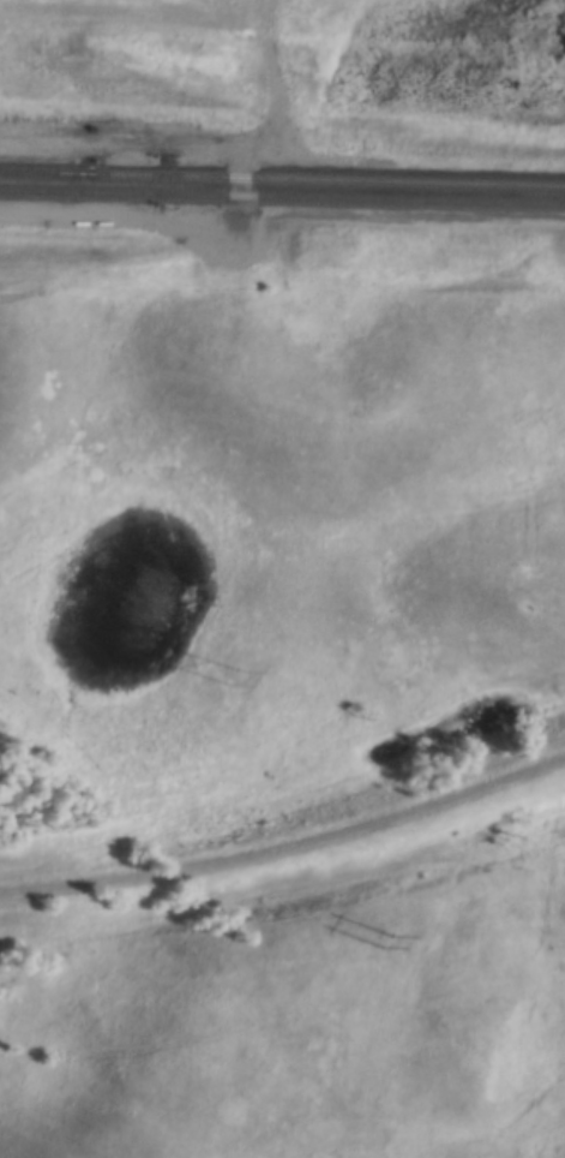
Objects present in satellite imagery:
railway: (43, 162)
railway: (43, 165)
railway: (326, 166)
railway: (282, 197)
road: (226, 233)
power tower: (235, 676)

